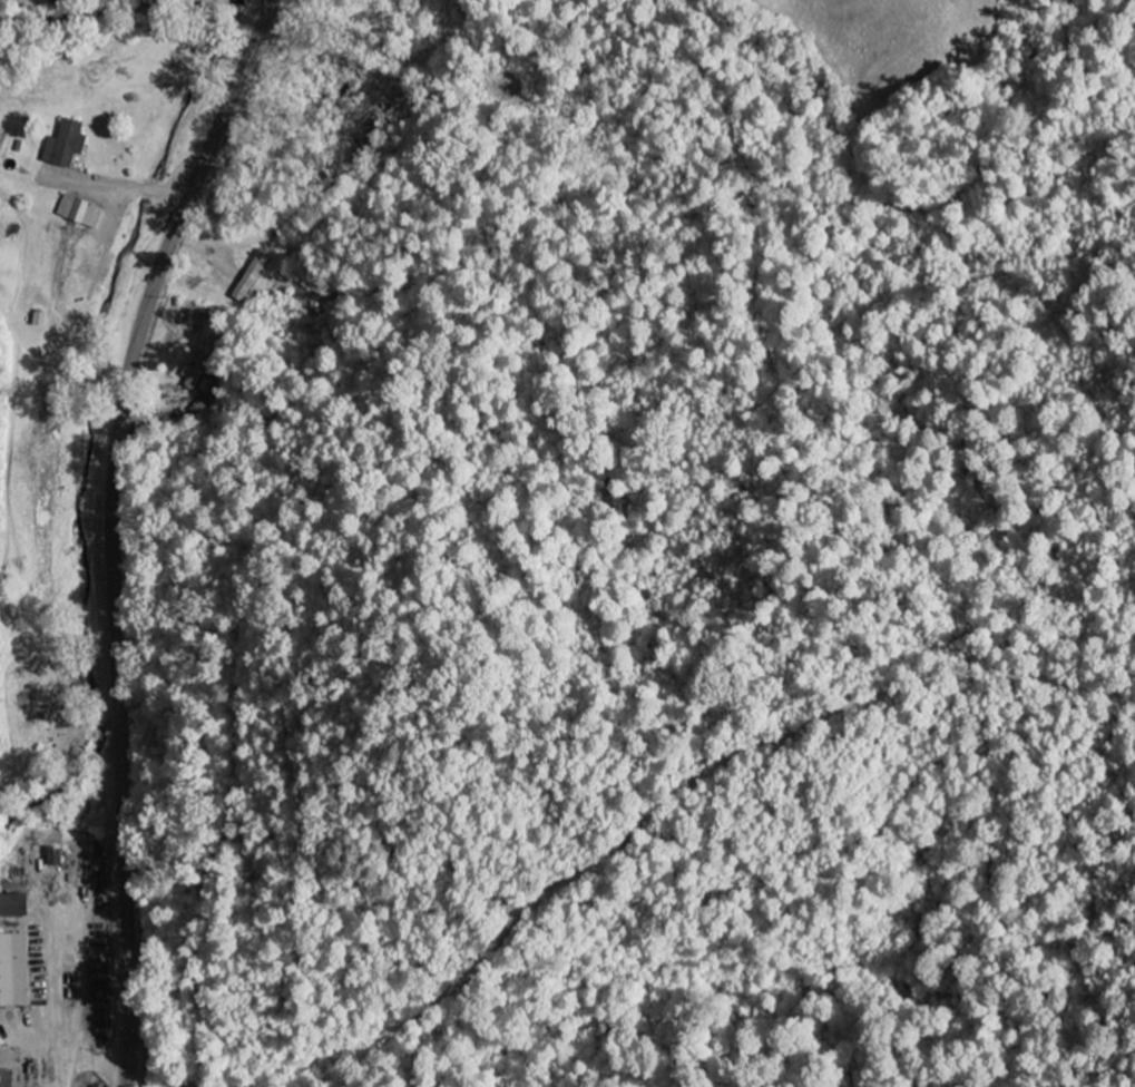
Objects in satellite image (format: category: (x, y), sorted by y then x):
road: (133, 3)
road: (261, 11)
building: (68, 145)
building: (82, 213)
building: (41, 320)
building: (198, 370)
building: (205, 386)
road: (112, 529)
building: (58, 858)
building: (20, 907)
building: (14, 971)

